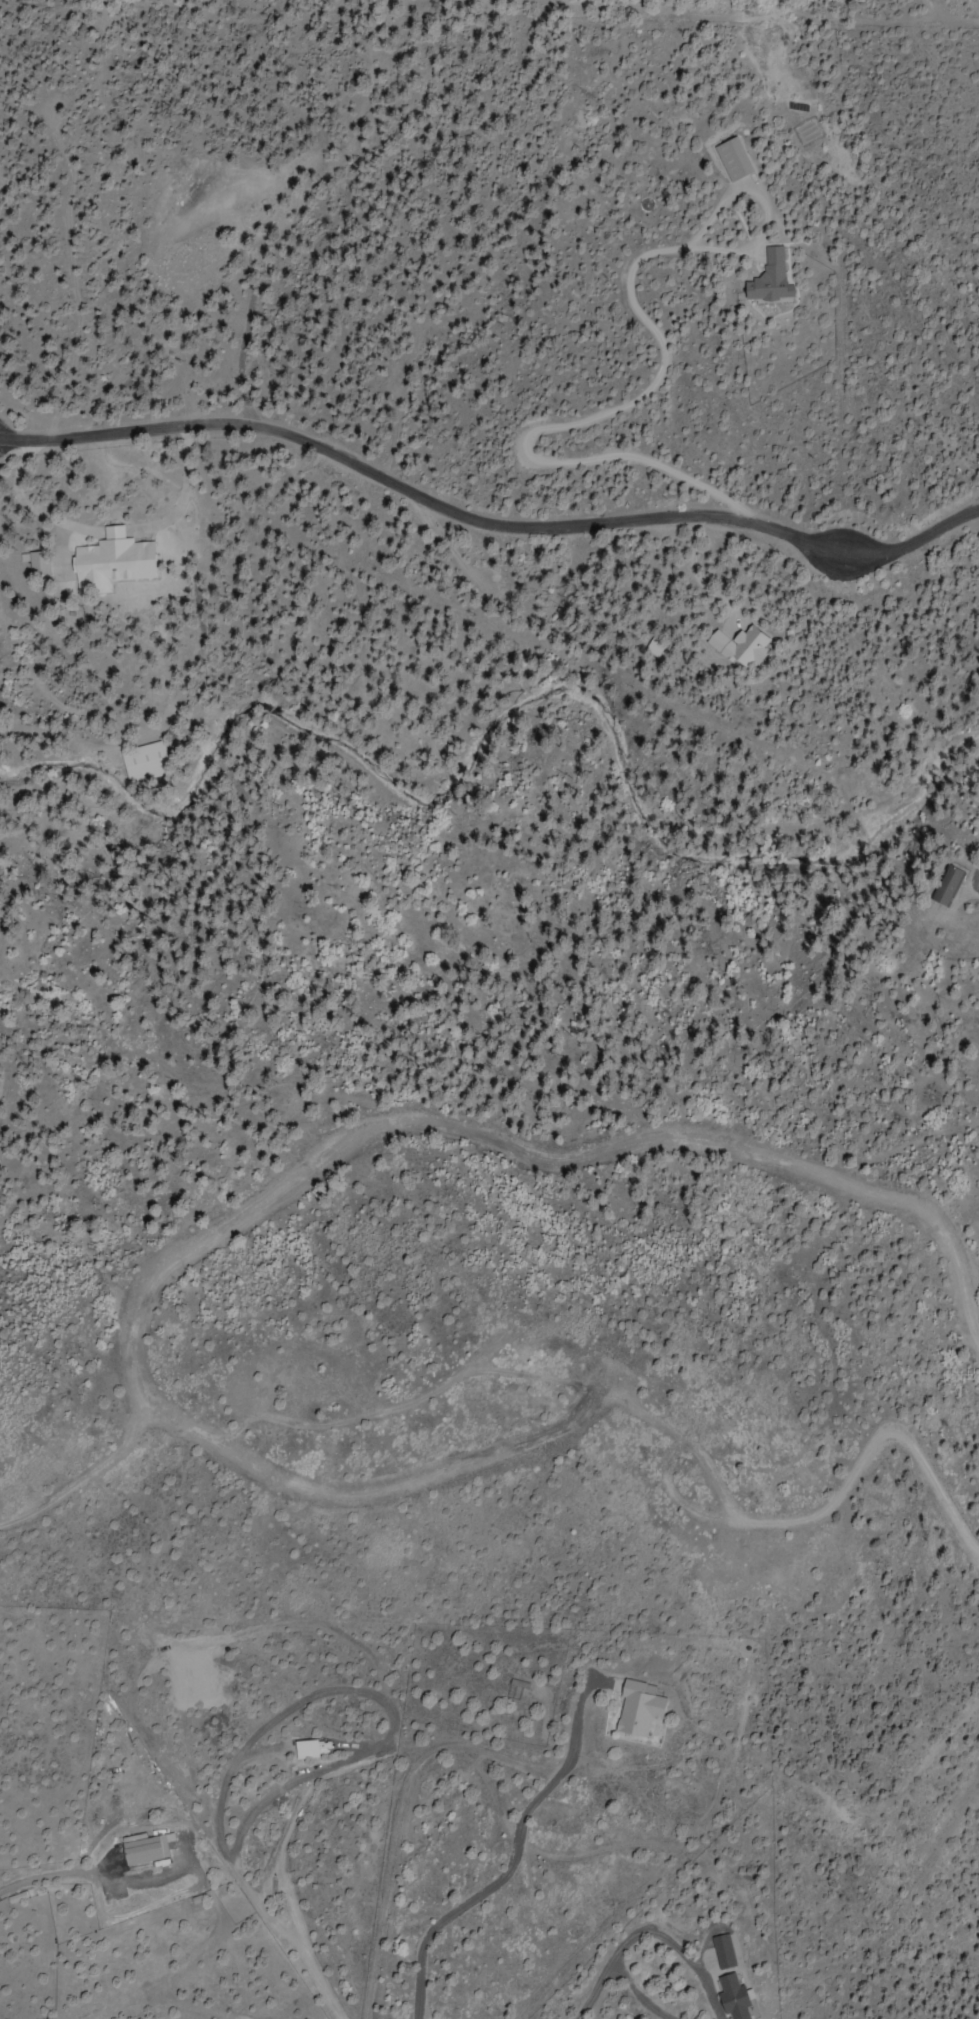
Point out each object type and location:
park: (134, 7)
building: (730, 158)
building: (767, 278)
building: (107, 562)
building: (34, 573)
building: (733, 647)
building: (944, 886)
building: (635, 1708)
building: (307, 1750)
road: (502, 1756)
building: (144, 1849)
building: (721, 1951)
road: (965, 1986)
building: (729, 1997)

